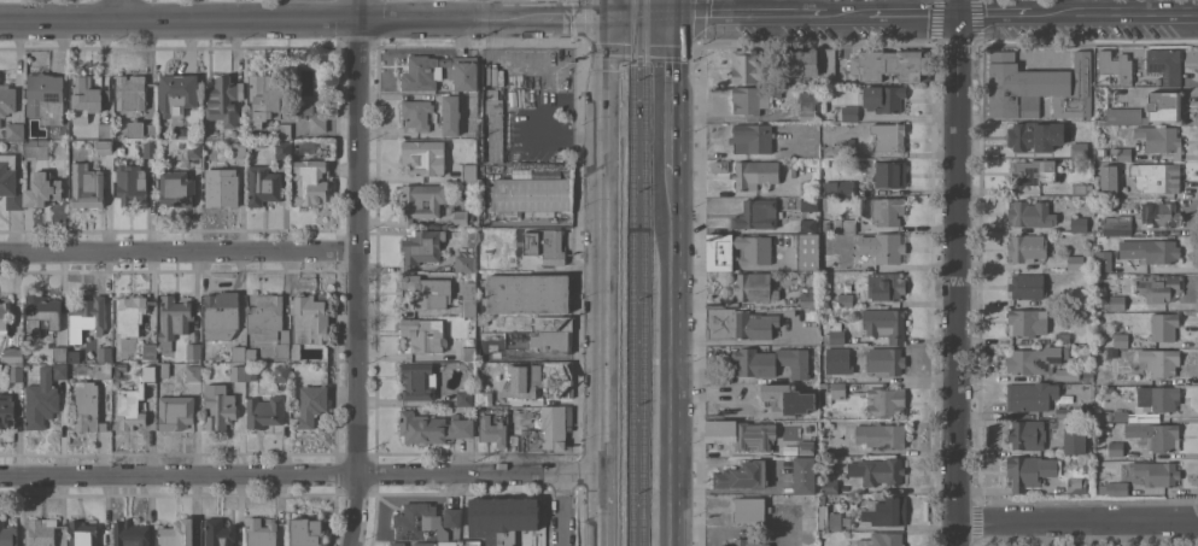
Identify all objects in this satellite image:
road: (777, 5)
road: (672, 6)
road: (475, 7)
road: (606, 7)
road: (121, 10)
road: (747, 11)
road: (845, 11)
road: (910, 11)
traffic signals: (954, 11)
road: (993, 11)
road: (1085, 11)
traffic signals: (672, 12)
road: (1168, 12)
road: (638, 13)
traffic signals: (606, 14)
road: (303, 19)
building: (799, 61)
building: (889, 63)
building: (1115, 64)
building: (1164, 64)
building: (744, 65)
building: (828, 65)
building: (439, 71)
building: (98, 82)
road: (671, 83)
building: (1038, 86)
building: (130, 92)
building: (176, 93)
building: (86, 96)
building: (883, 96)
building: (263, 98)
building: (754, 98)
building: (6, 99)
building: (47, 99)
building: (222, 100)
building: (807, 105)
building: (1147, 110)
building: (417, 112)
building: (849, 112)
building: (451, 113)
building: (314, 117)
building: (493, 122)
building: (1079, 124)
building: (1088, 124)
building: (140, 128)
building: (105, 129)
building: (14, 130)
building: (284, 130)
building: (1034, 135)
building: (752, 136)
building: (888, 136)
building: (1159, 139)
building: (1118, 141)
building: (104, 146)
building: (306, 146)
building: (36, 148)
building: (150, 148)
building: (194, 148)
building: (239, 148)
building: (1080, 148)
building: (282, 149)
building: (846, 149)
building: (1120, 153)
building: (211, 154)
building: (423, 155)
building: (719, 165)
building: (1033, 170)
building: (468, 171)
building: (754, 172)
building: (889, 174)
building: (1110, 175)
building: (1156, 176)
building: (10, 181)
building: (310, 181)
building: (130, 183)
building: (87, 184)
building: (263, 184)
building: (221, 186)
building: (176, 187)
building: (807, 187)
building: (846, 187)
building: (42, 188)
building: (1081, 188)
building: (531, 195)
building: (421, 200)
building: (808, 205)
building: (883, 209)
building: (756, 213)
building: (1029, 213)
building: (1159, 213)
building: (458, 217)
building: (1079, 223)
building: (807, 224)
building: (845, 224)
building: (1117, 224)
building: (826, 227)
building: (422, 245)
building: (545, 245)
building: (889, 247)
building: (1025, 247)
road: (177, 249)
building: (756, 251)
building: (807, 251)
building: (1138, 251)
building: (846, 260)
building: (1075, 262)
building: (464, 263)
road: (356, 272)
railway: (632, 272)
railway: (643, 272)
road: (954, 272)
road: (604, 278)
building: (1105, 281)
building: (884, 284)
building: (1025, 286)
building: (754, 287)
building: (1158, 287)
building: (427, 290)
building: (527, 292)
building: (807, 297)
building: (468, 299)
building: (845, 299)
building: (1117, 301)
building: (41, 312)
building: (813, 313)
building: (130, 315)
building: (221, 315)
building: (4, 316)
building: (87, 316)
building: (268, 317)
building: (173, 319)
building: (483, 321)
building: (1027, 321)
building: (553, 323)
building: (738, 323)
building: (884, 323)
building: (305, 324)
building: (1163, 325)
building: (152, 331)
building: (423, 333)
building: (834, 333)
building: (1063, 336)
building: (1121, 340)
building: (551, 341)
building: (148, 350)
building: (193, 350)
road: (670, 350)
building: (242, 352)
building: (467, 352)
building: (1111, 352)
building: (13, 353)
building: (59, 353)
building: (74, 356)
building: (1083, 356)
building: (1033, 359)
building: (884, 360)
building: (1159, 360)
building: (104, 362)
building: (771, 362)
building: (162, 368)
building: (118, 369)
building: (14, 370)
building: (238, 370)
building: (193, 372)
building: (282, 372)
building: (1068, 374)
building: (837, 375)
building: (542, 378)
building: (417, 381)
building: (831, 391)
building: (43, 394)
building: (1030, 395)
building: (464, 397)
building: (484, 397)
building: (787, 398)
building: (1157, 398)
building: (135, 399)
building: (886, 400)
building: (311, 404)
building: (87, 406)
building: (218, 406)
building: (6, 407)
building: (264, 410)
building: (175, 411)
building: (1066, 411)
building: (1088, 411)
building: (1108, 413)
building: (1122, 413)
building: (433, 427)
building: (537, 427)
building: (491, 429)
building: (741, 433)
building: (881, 434)
building: (1025, 434)
building: (1153, 435)
building: (1074, 438)
building: (806, 446)
building: (1115, 447)
building: (877, 469)
building: (1030, 470)
building: (1156, 472)
road: (302, 475)
building: (743, 475)
building: (803, 475)
building: (829, 485)
building: (1075, 485)
building: (1114, 488)
building: (820, 498)
building: (747, 507)
road: (562, 509)
building: (887, 510)
building: (451, 516)
building: (502, 517)
road: (1076, 517)
building: (830, 519)
building: (417, 521)
building: (41, 530)
building: (218, 532)
building: (261, 532)
building: (305, 532)
road: (1080, 532)
building: (82, 533)
building: (130, 533)
building: (176, 533)
building: (7, 534)
building: (882, 539)
building: (748, 541)
building: (445, 542)
building: (396, 544)
building: (422, 544)
road: (604, 545)

